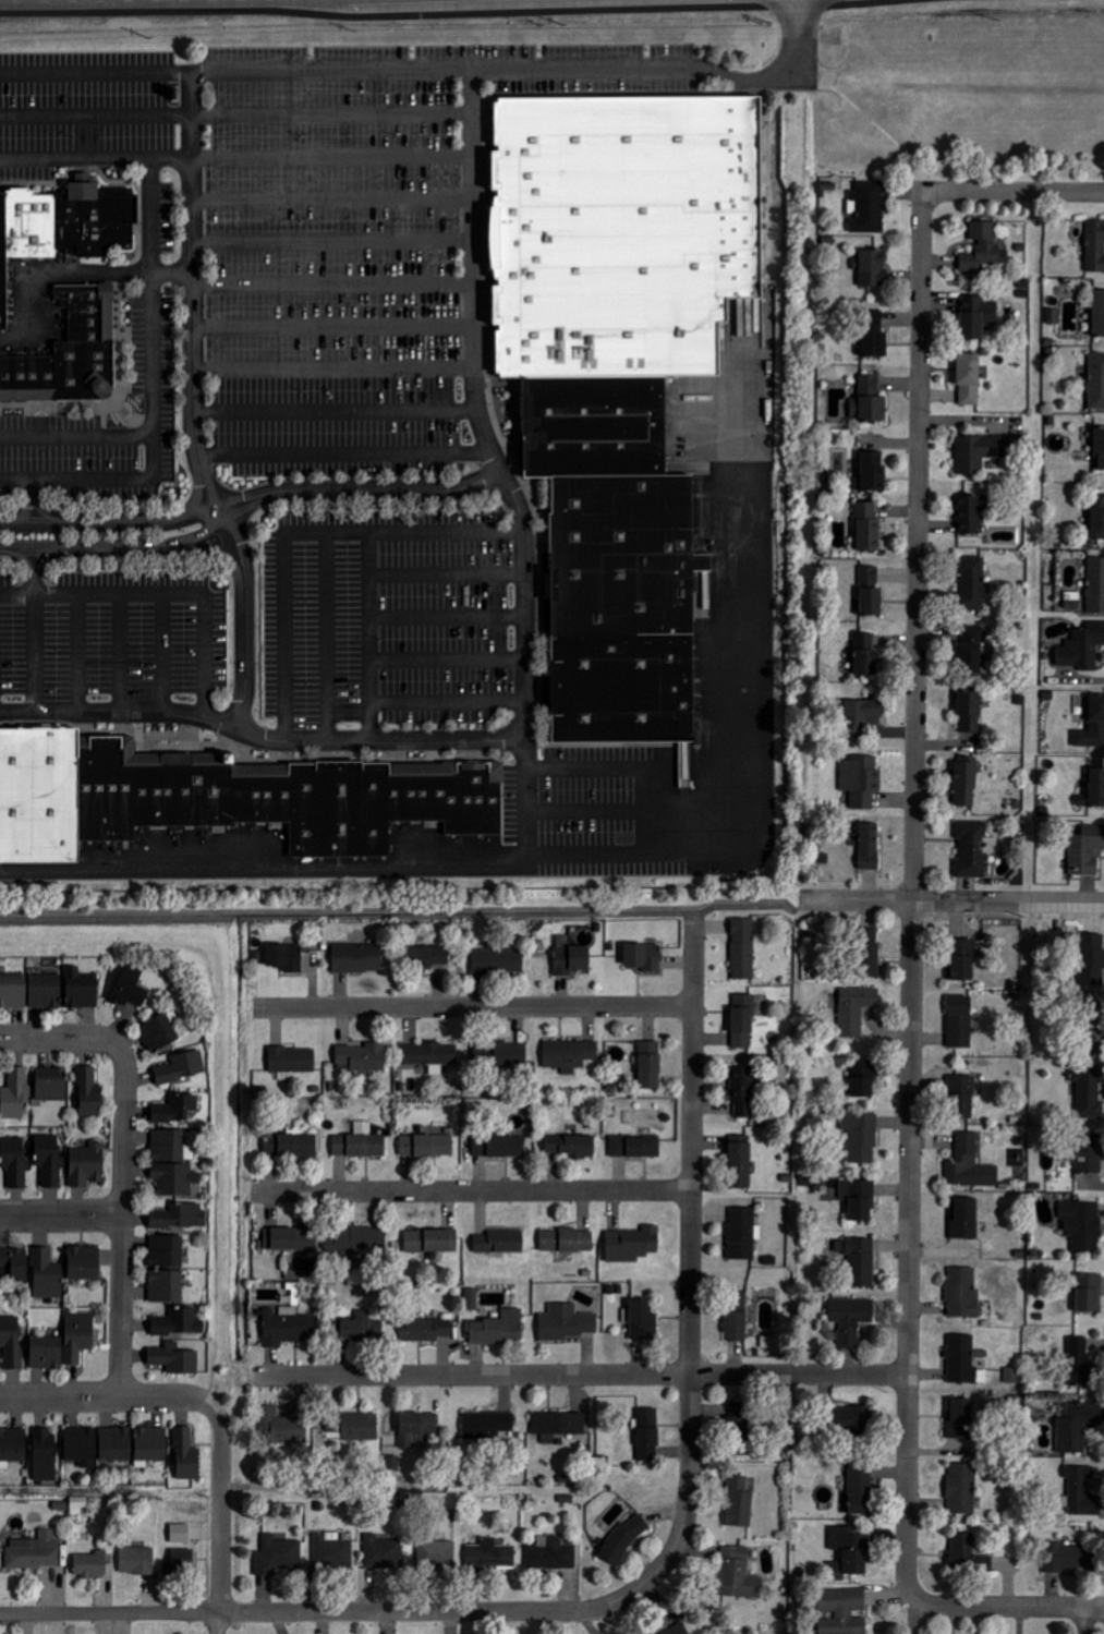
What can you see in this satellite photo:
road: (347, 69)
road: (777, 75)
road: (236, 114)
road: (236, 156)
road: (1030, 192)
road: (333, 198)
building: (868, 207)
building: (62, 226)
building: (615, 232)
road: (333, 241)
building: (1095, 246)
building: (984, 247)
parking lot: (299, 251)
building: (873, 268)
road: (172, 271)
road: (333, 283)
building: (1099, 313)
building: (978, 316)
building: (1056, 317)
road: (335, 326)
building: (874, 335)
building: (68, 358)
road: (335, 368)
building: (970, 379)
building: (1096, 382)
road: (153, 392)
building: (587, 398)
building: (870, 401)
road: (195, 404)
road: (476, 408)
road: (336, 411)
road: (76, 434)
building: (587, 446)
building: (1100, 446)
road: (344, 452)
building: (981, 452)
building: (872, 472)
road: (361, 489)
road: (33, 501)
building: (969, 516)
building: (1097, 517)
road: (110, 521)
building: (869, 528)
road: (303, 531)
road: (195, 536)
road: (82, 546)
road: (204, 549)
building: (617, 550)
road: (36, 570)
road: (448, 573)
building: (973, 583)
building: (1095, 585)
building: (871, 591)
road: (162, 592)
road: (449, 615)
road: (372, 634)
road: (329, 636)
building: (1082, 647)
road: (78, 651)
road: (121, 651)
road: (163, 651)
building: (972, 651)
road: (37, 652)
building: (865, 654)
road: (449, 657)
building: (619, 685)
road: (449, 701)
building: (971, 712)
building: (861, 716)
building: (1093, 726)
road: (262, 735)
road: (609, 766)
building: (862, 780)
building: (967, 783)
building: (1096, 787)
road: (529, 796)
building: (217, 803)
road: (609, 809)
building: (869, 846)
building: (974, 849)
building: (1087, 850)
road: (609, 851)
road: (265, 868)
road: (951, 901)
building: (743, 949)
building: (869, 953)
building: (644, 957)
building: (357, 958)
building: (428, 958)
building: (571, 958)
building: (282, 959)
building: (962, 960)
building: (1092, 960)
building: (498, 963)
road: (912, 972)
building: (82, 989)
building: (13, 991)
building: (45, 991)
building: (130, 991)
road: (473, 1007)
building: (856, 1009)
building: (743, 1021)
building: (960, 1022)
building: (1093, 1028)
building: (159, 1033)
road: (63, 1038)
building: (430, 1054)
building: (511, 1054)
building: (570, 1054)
building: (361, 1055)
building: (293, 1060)
building: (651, 1065)
building: (182, 1068)
building: (864, 1079)
building: (51, 1085)
building: (742, 1091)
building: (1089, 1091)
building: (15, 1094)
building: (90, 1094)
building: (962, 1098)
building: (175, 1110)
building: (862, 1137)
building: (361, 1142)
building: (291, 1146)
building: (427, 1146)
building: (500, 1147)
building: (571, 1147)
building: (636, 1147)
building: (1090, 1154)
building: (15, 1161)
building: (50, 1161)
building: (173, 1164)
building: (87, 1165)
building: (741, 1165)
building: (970, 1165)
road: (470, 1190)
building: (860, 1200)
road: (62, 1217)
building: (180, 1217)
building: (965, 1219)
road: (123, 1225)
building: (1084, 1225)
building: (742, 1234)
building: (290, 1239)
building: (432, 1242)
building: (567, 1242)
building: (356, 1243)
building: (500, 1243)
building: (633, 1245)
road: (690, 1254)
building: (862, 1262)
building: (15, 1263)
building: (85, 1263)
building: (167, 1270)
building: (47, 1275)
building: (1089, 1293)
building: (963, 1294)
building: (473, 1299)
building: (851, 1319)
building: (643, 1321)
building: (179, 1323)
building: (567, 1323)
building: (288, 1327)
building: (361, 1328)
building: (738, 1328)
building: (500, 1330)
building: (429, 1331)
building: (78, 1338)
building: (11, 1342)
building: (47, 1353)
building: (177, 1358)
building: (961, 1359)
building: (1082, 1365)
road: (582, 1375)
road: (105, 1397)
building: (741, 1416)
building: (853, 1419)
building: (960, 1420)
building: (281, 1424)
building: (489, 1426)
building: (558, 1426)
building: (1077, 1426)
building: (360, 1427)
building: (416, 1428)
building: (648, 1435)
building: (116, 1443)
building: (151, 1443)
building: (12, 1445)
building: (82, 1447)
building: (741, 1448)
building: (45, 1453)
building: (187, 1455)
building: (861, 1488)
building: (962, 1488)
building: (1083, 1491)
building: (740, 1502)
road: (221, 1506)
building: (965, 1549)
building: (332, 1550)
building: (36, 1551)
building: (383, 1551)
building: (551, 1552)
building: (849, 1552)
building: (437, 1553)
building: (278, 1554)
building: (490, 1554)
building: (1070, 1557)
building: (137, 1560)
building: (181, 1561)
building: (90, 1564)
building: (738, 1573)
road: (1102, 1609)
building: (844, 1610)
road: (1102, 1610)
road: (331, 1612)
road: (1091, 1620)
road: (217, 1623)
building: (679, 1630)

